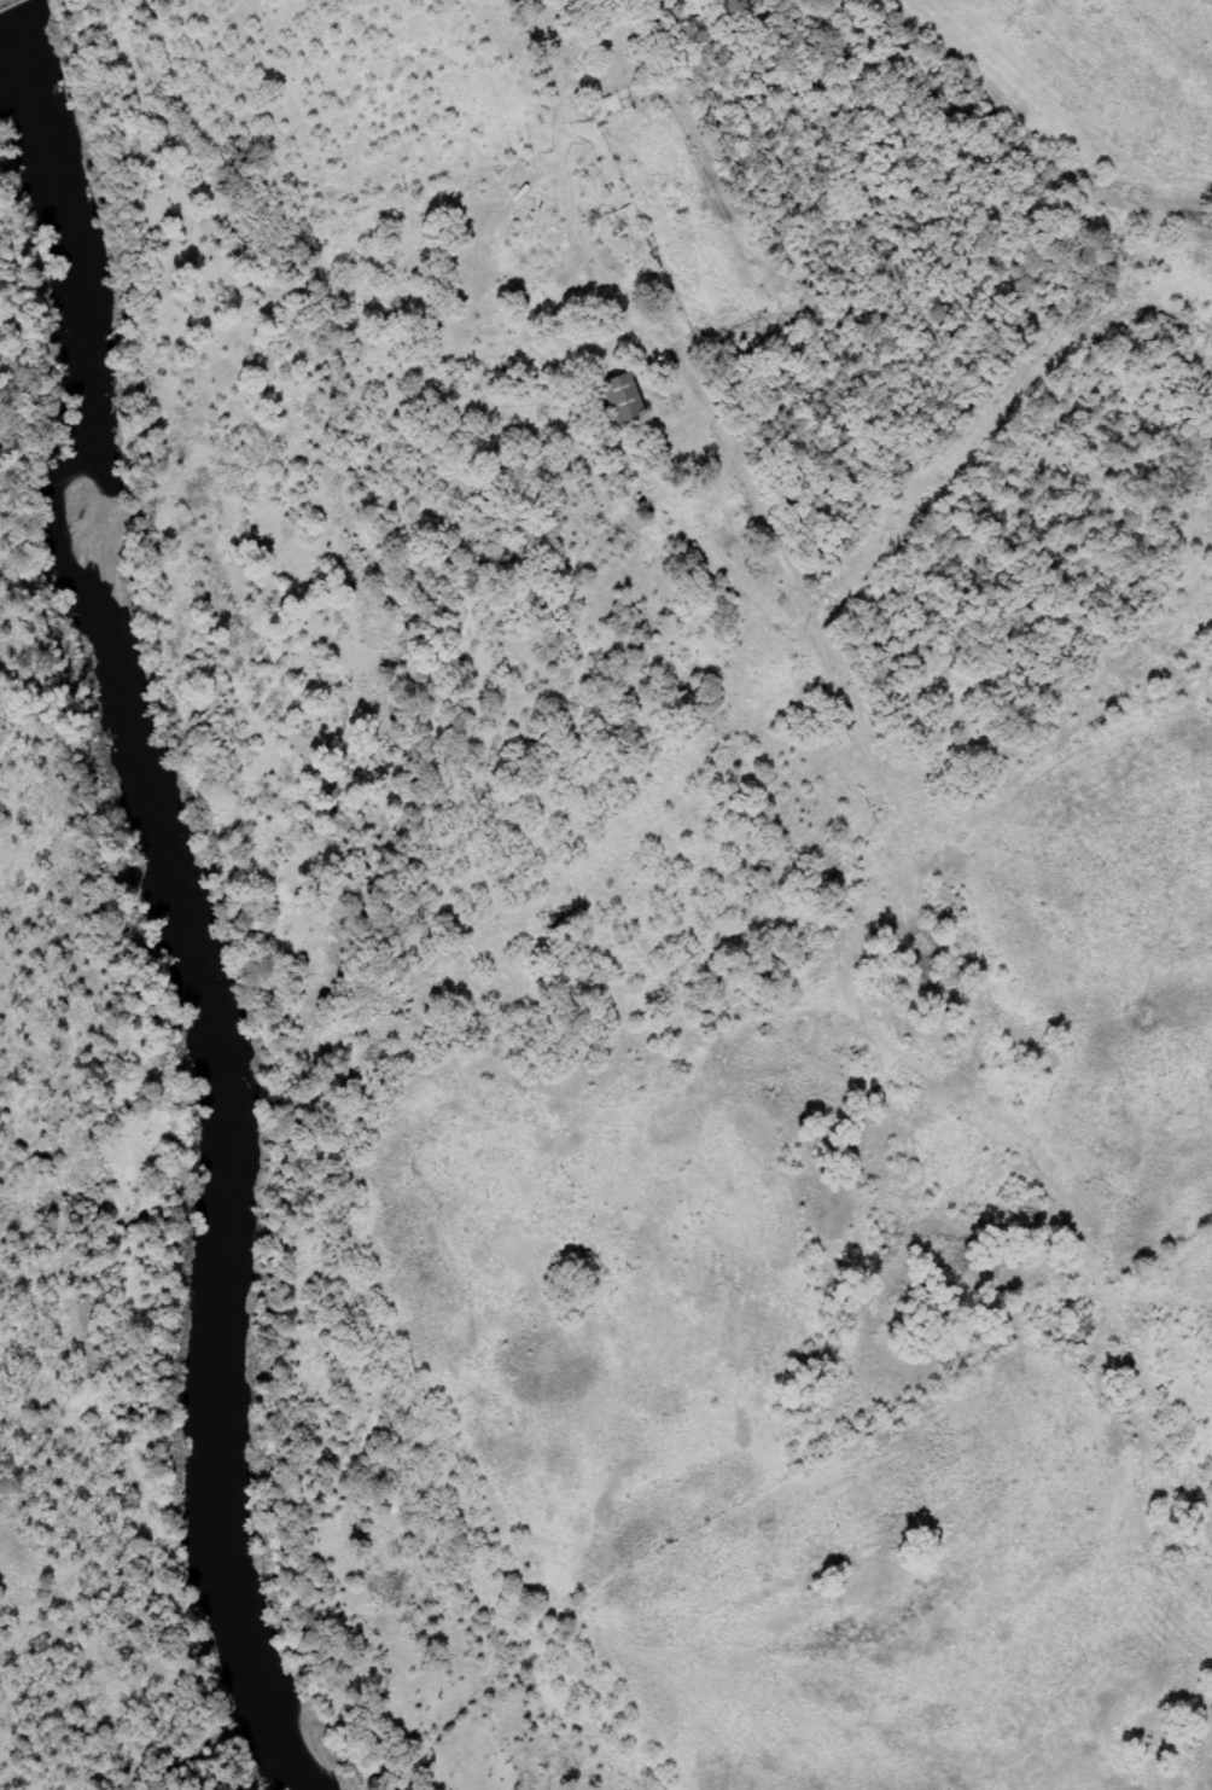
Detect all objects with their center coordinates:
road: (378, 203)
building: (617, 397)
river: (158, 895)
road: (892, 946)

